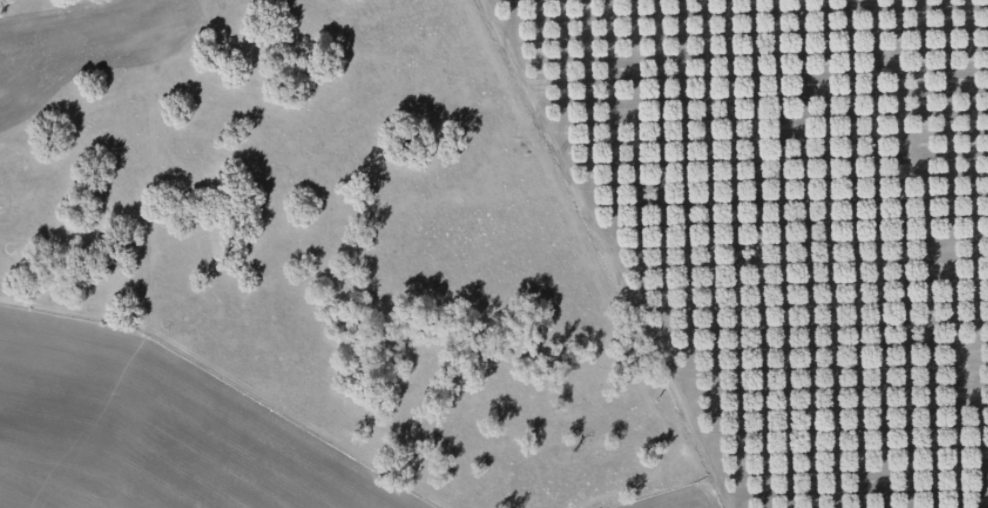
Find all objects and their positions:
road: (179, 261)

